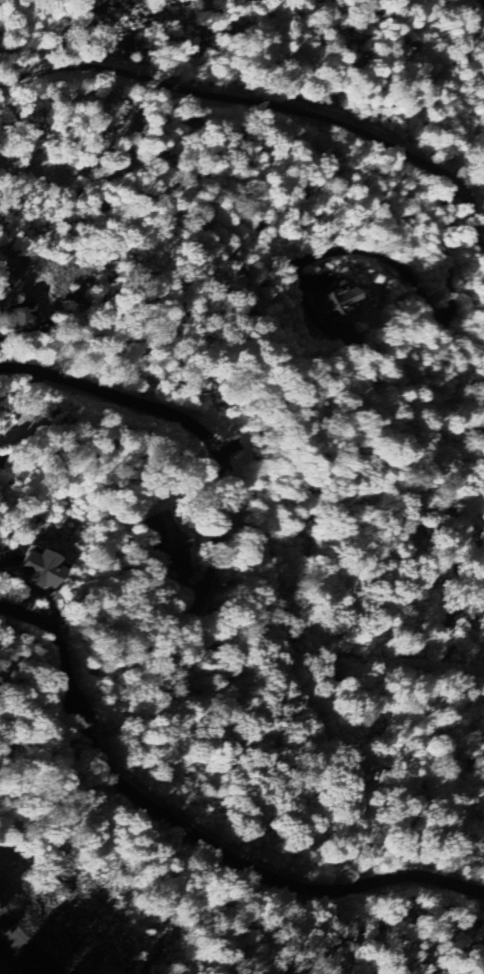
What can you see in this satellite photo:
road: (480, 1)
road: (268, 106)
building: (334, 303)
building: (19, 316)
road: (120, 402)
building: (162, 533)
building: (35, 567)
road: (189, 833)

